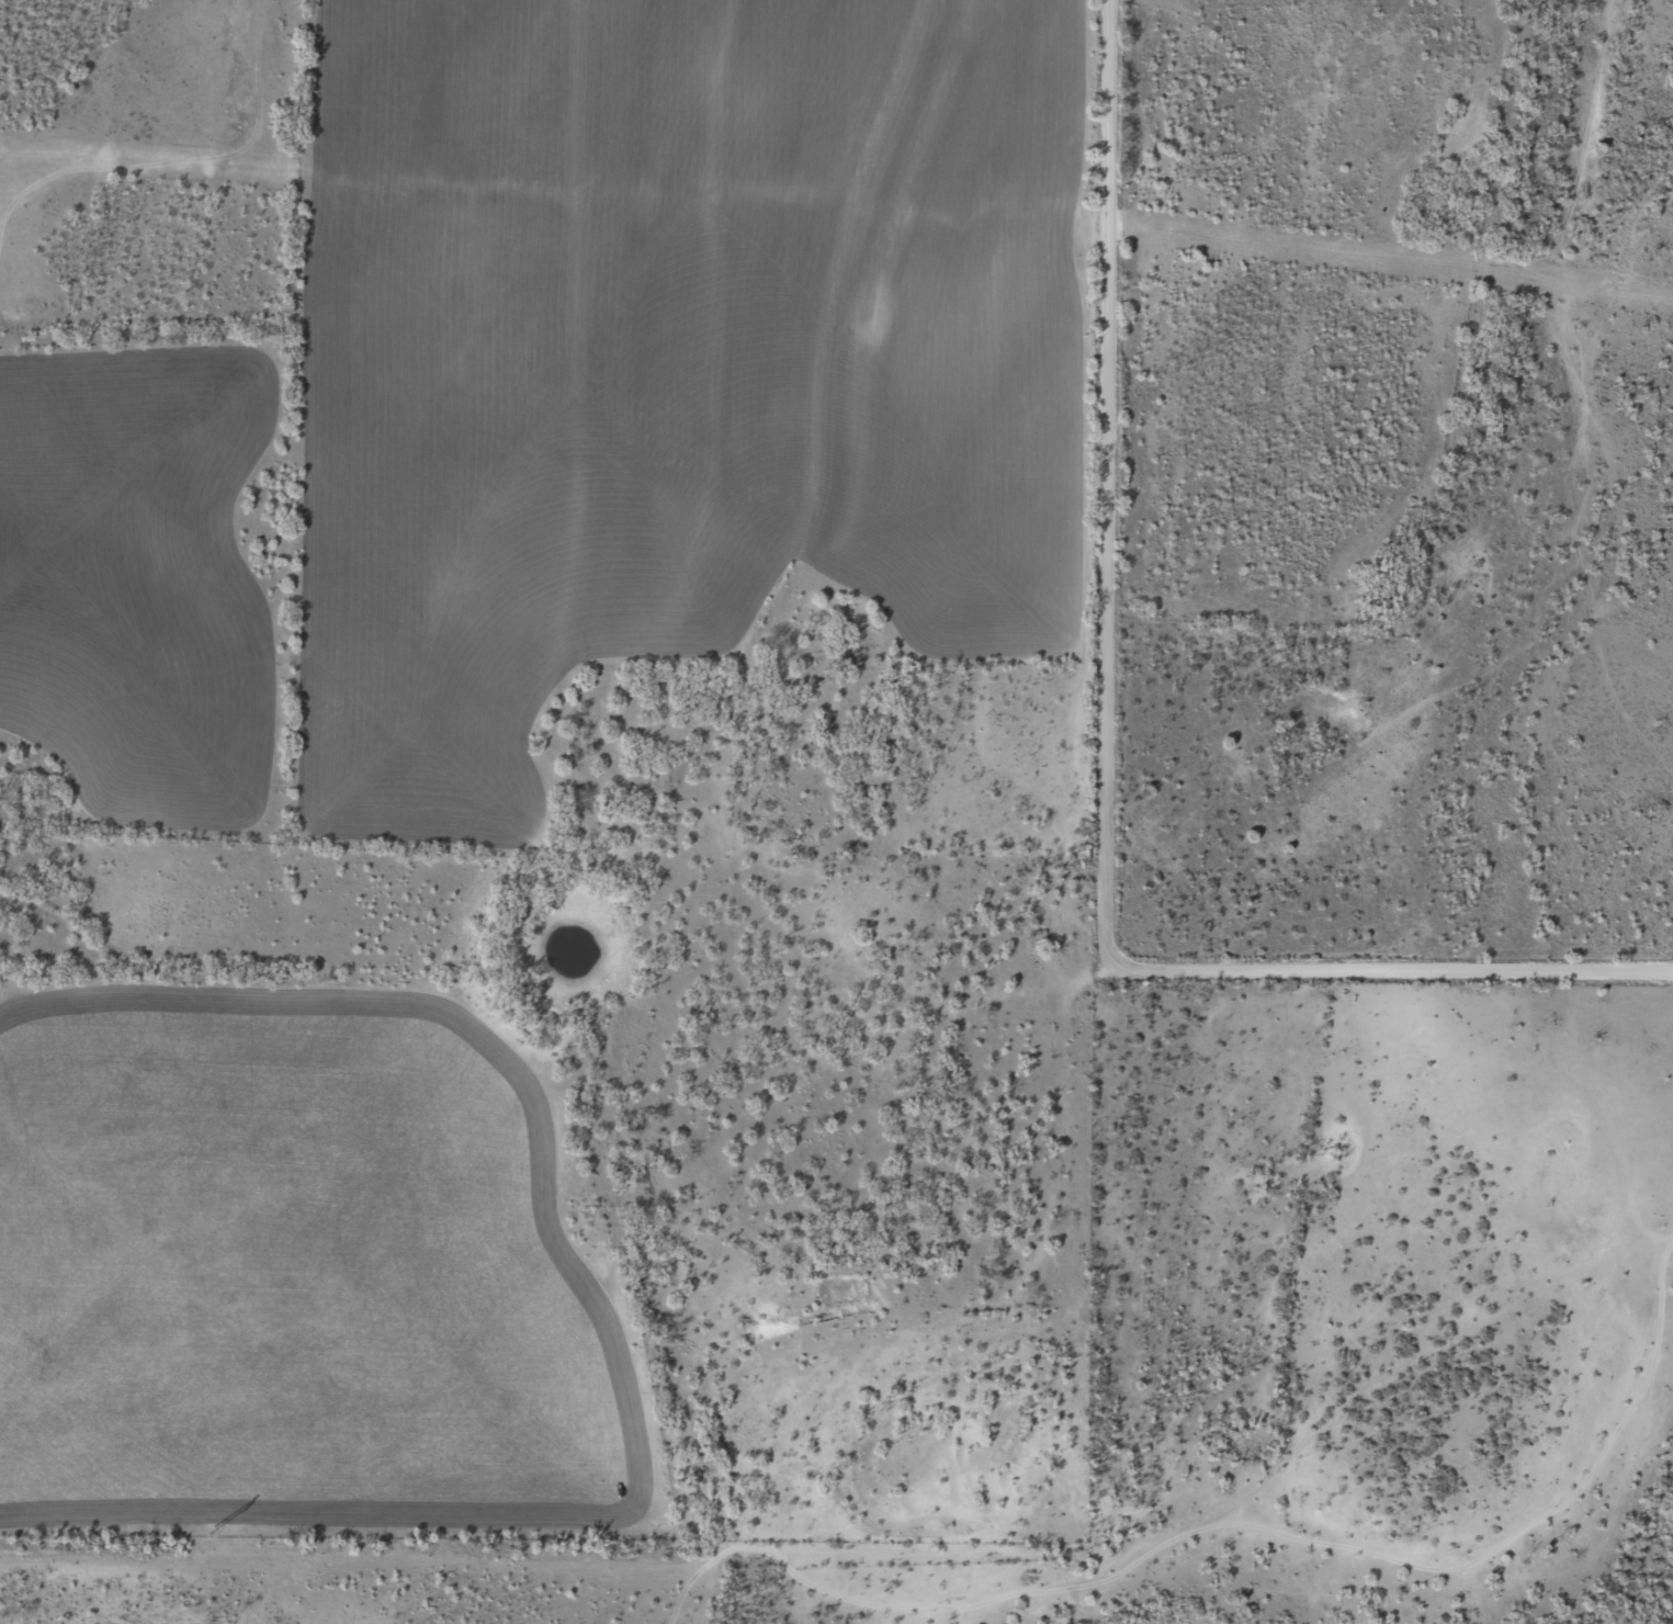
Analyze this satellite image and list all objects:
road: (1558, 464)
road: (1090, 777)
road: (1026, 1332)
road: (1586, 1507)
power tower: (212, 1530)
road: (1153, 1602)

